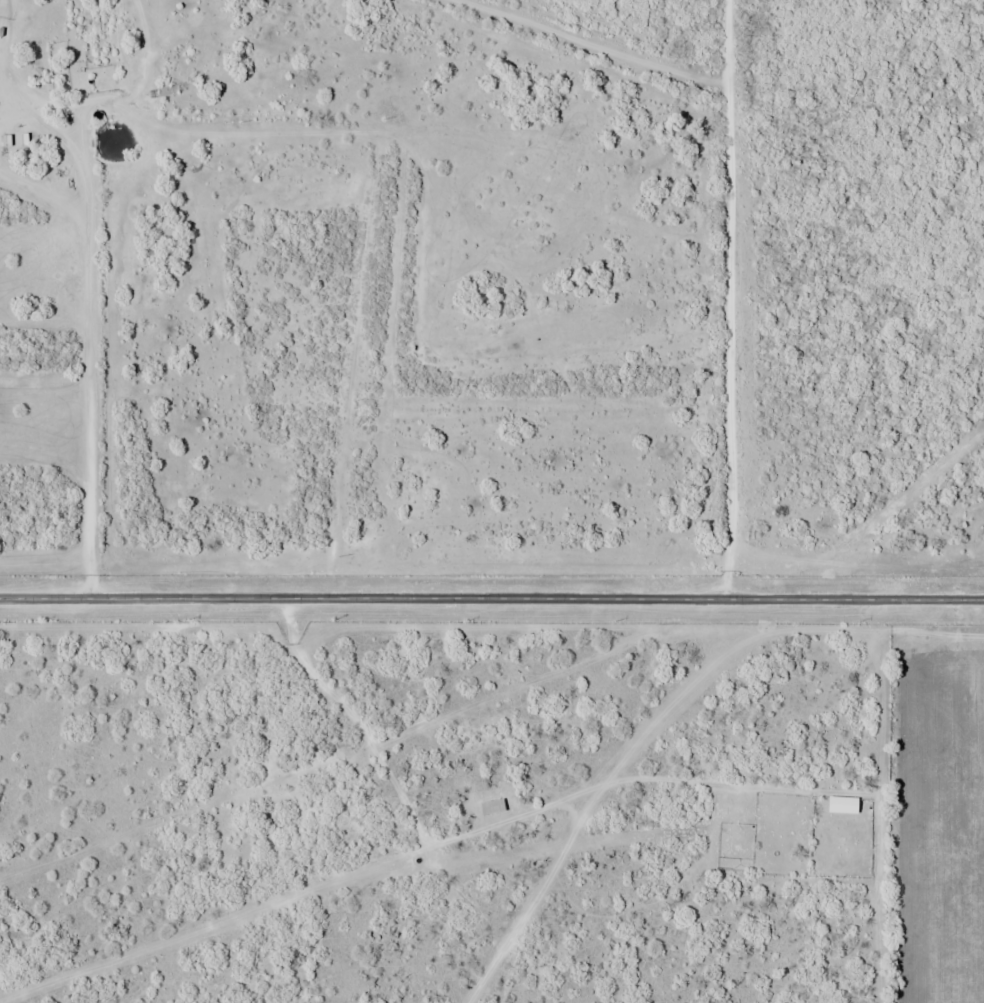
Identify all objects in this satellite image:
road: (724, 299)
road: (492, 598)
building: (840, 804)
building: (489, 806)

